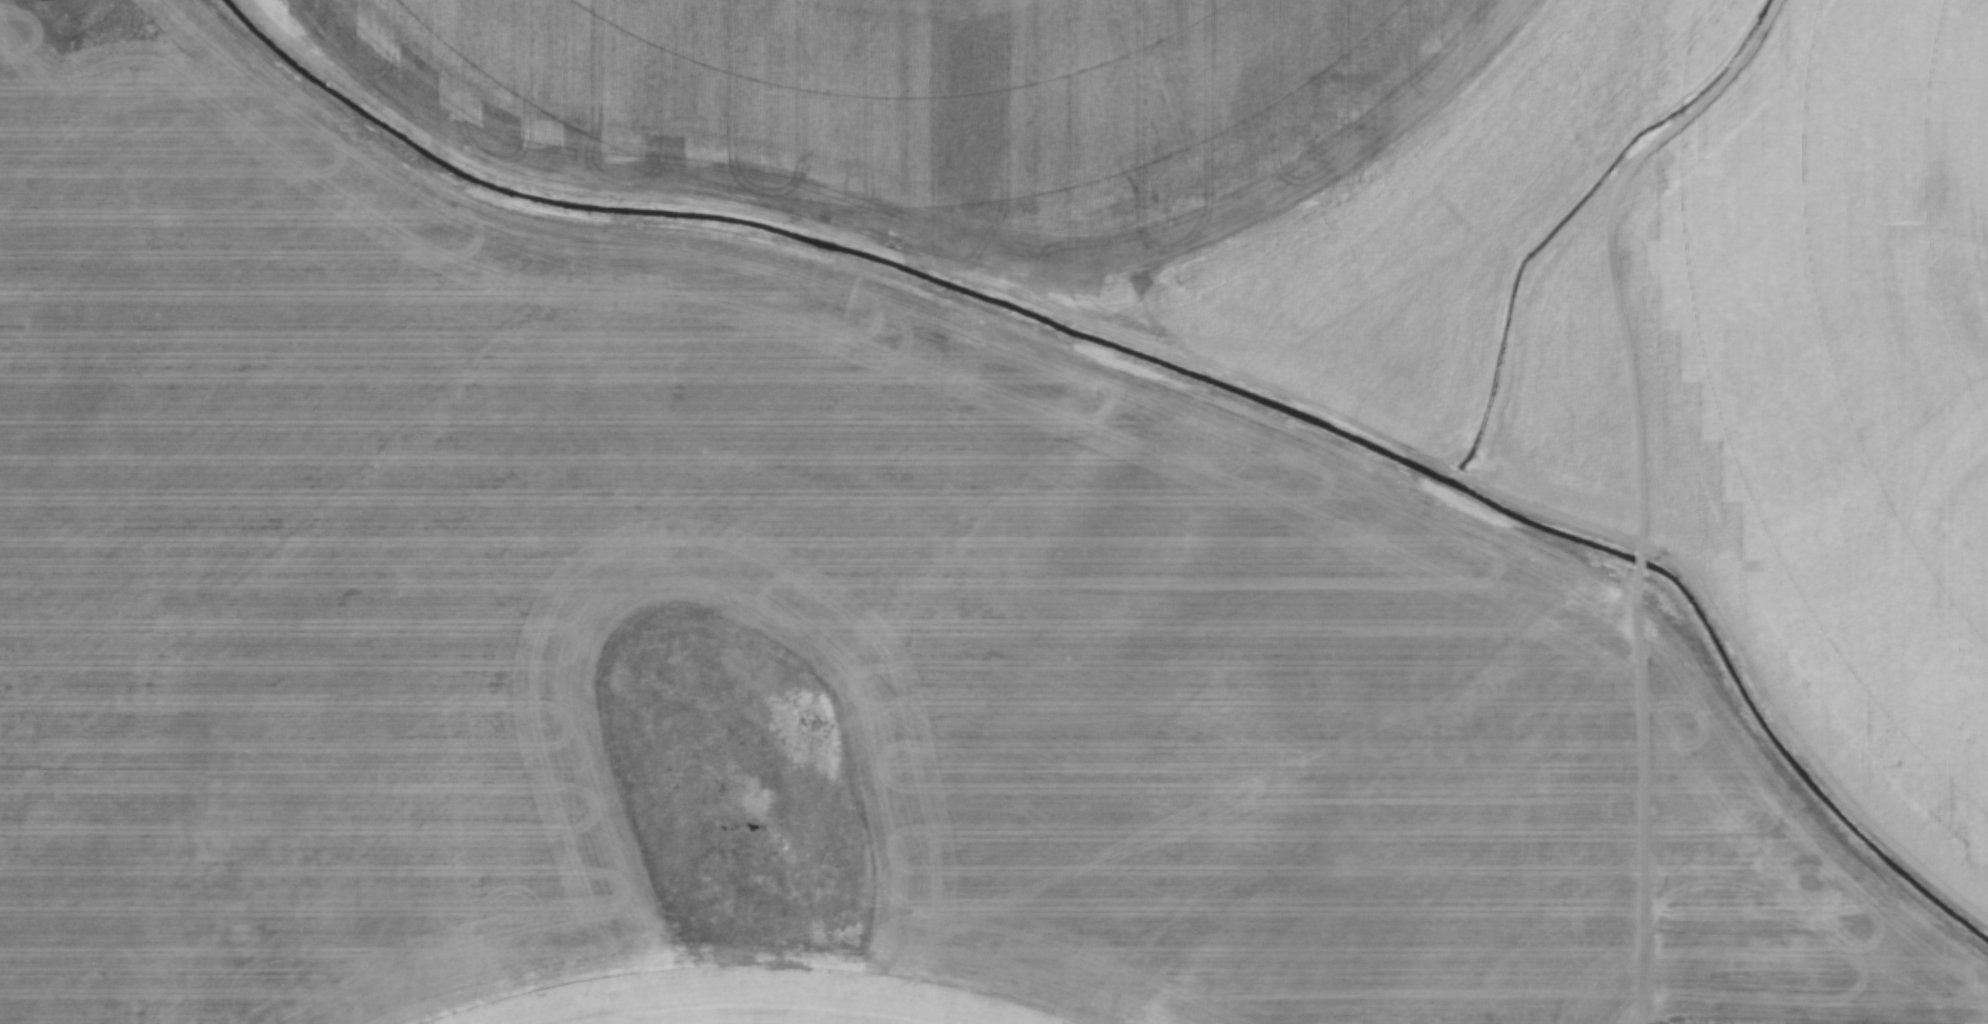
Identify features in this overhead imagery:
crop: (1415, 261)
crop: (772, 639)

